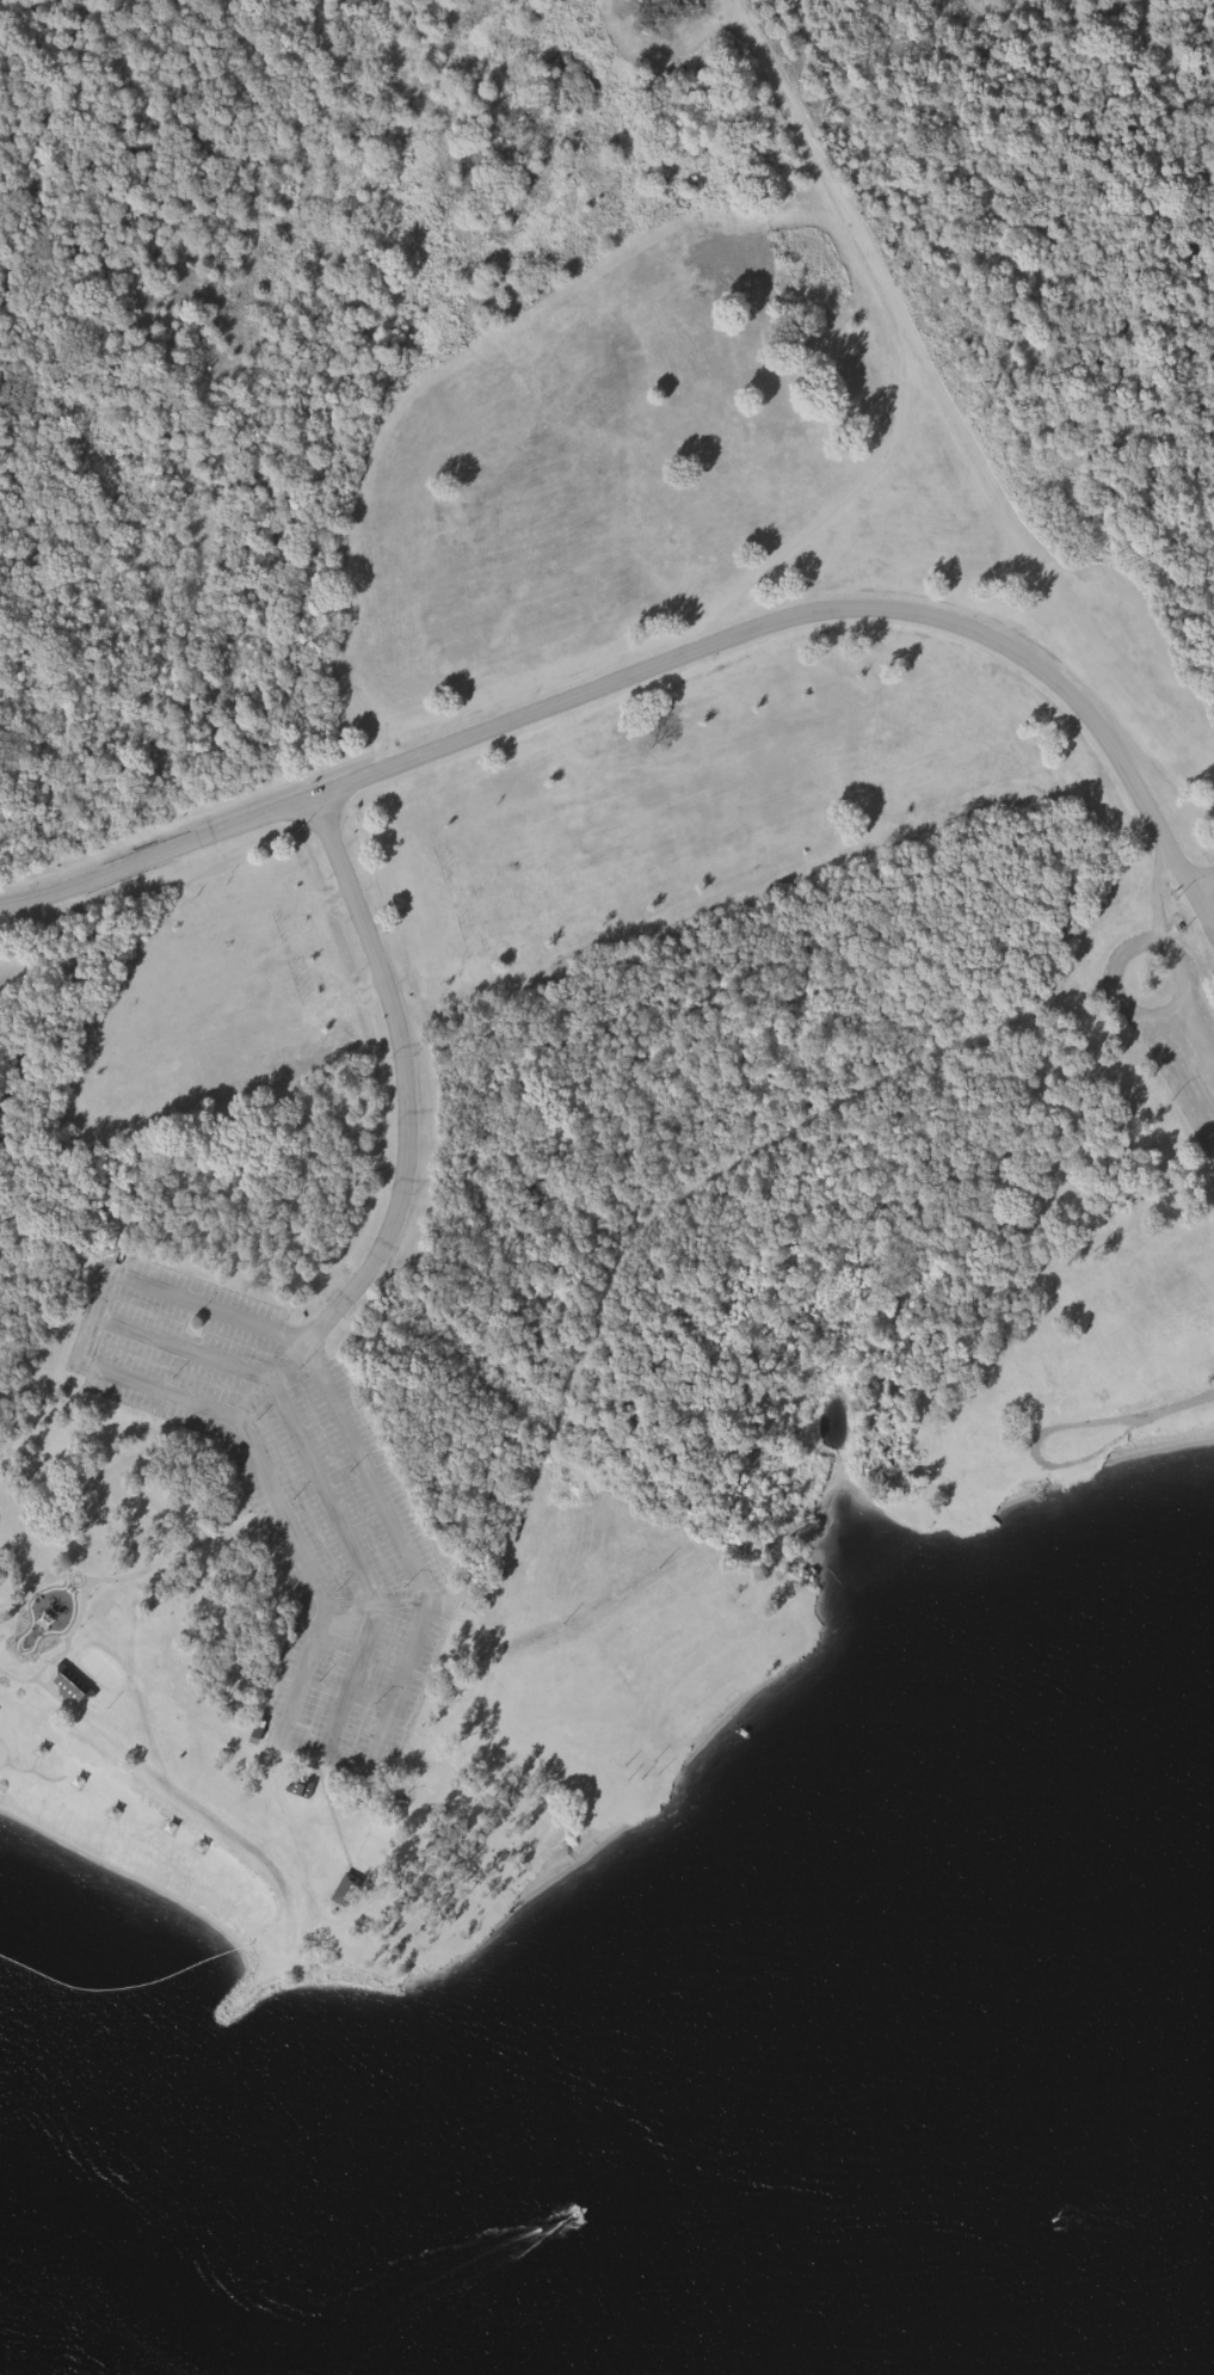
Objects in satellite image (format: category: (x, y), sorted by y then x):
road: (654, 672)
park: (573, 888)
road: (1159, 890)
road: (1206, 902)
road: (1111, 985)
road: (1196, 1046)
parking lot: (1188, 1066)
road: (403, 1069)
road: (291, 1415)
parking lot: (284, 1468)
road: (279, 1505)
building: (73, 1686)
building: (347, 1889)

